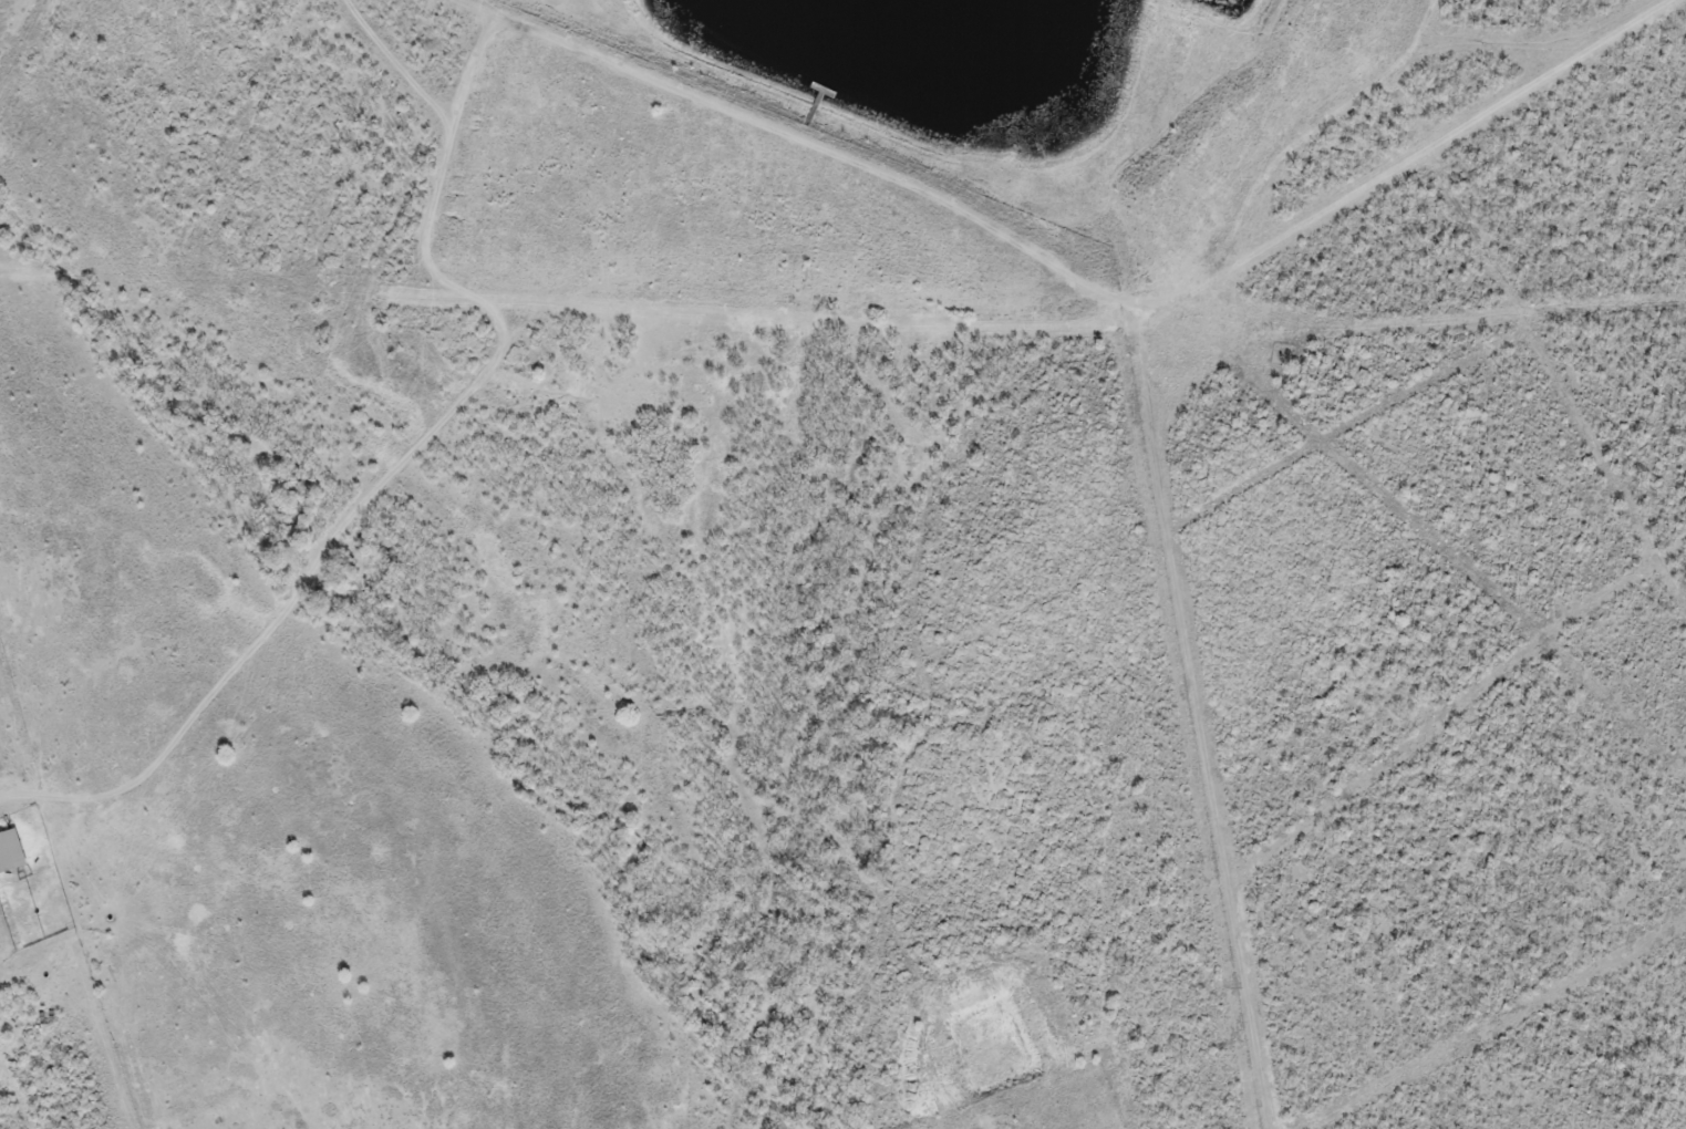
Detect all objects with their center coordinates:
building: (9, 852)

